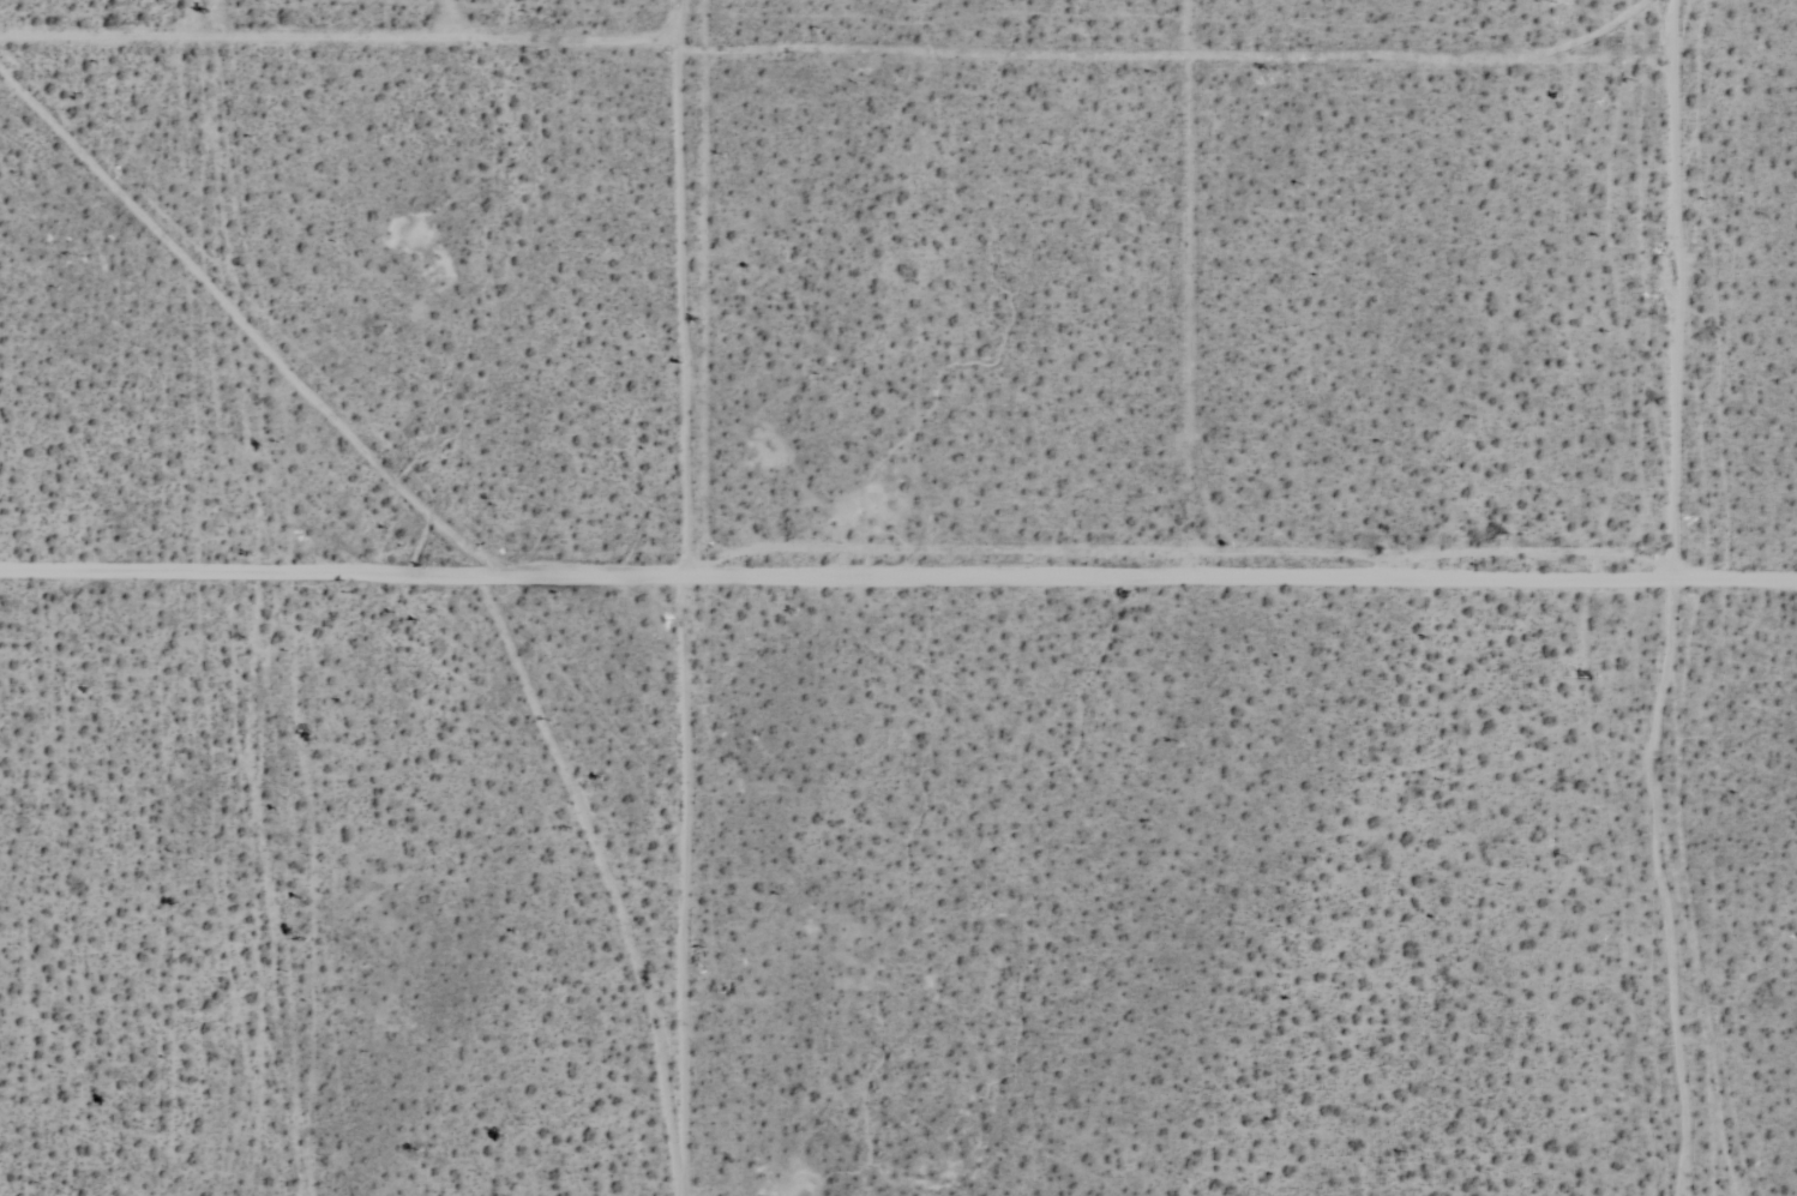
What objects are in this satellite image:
road: (240, 40)
road: (481, 40)
road: (864, 79)
road: (250, 288)
road: (1705, 288)
road: (897, 577)
road: (689, 887)

